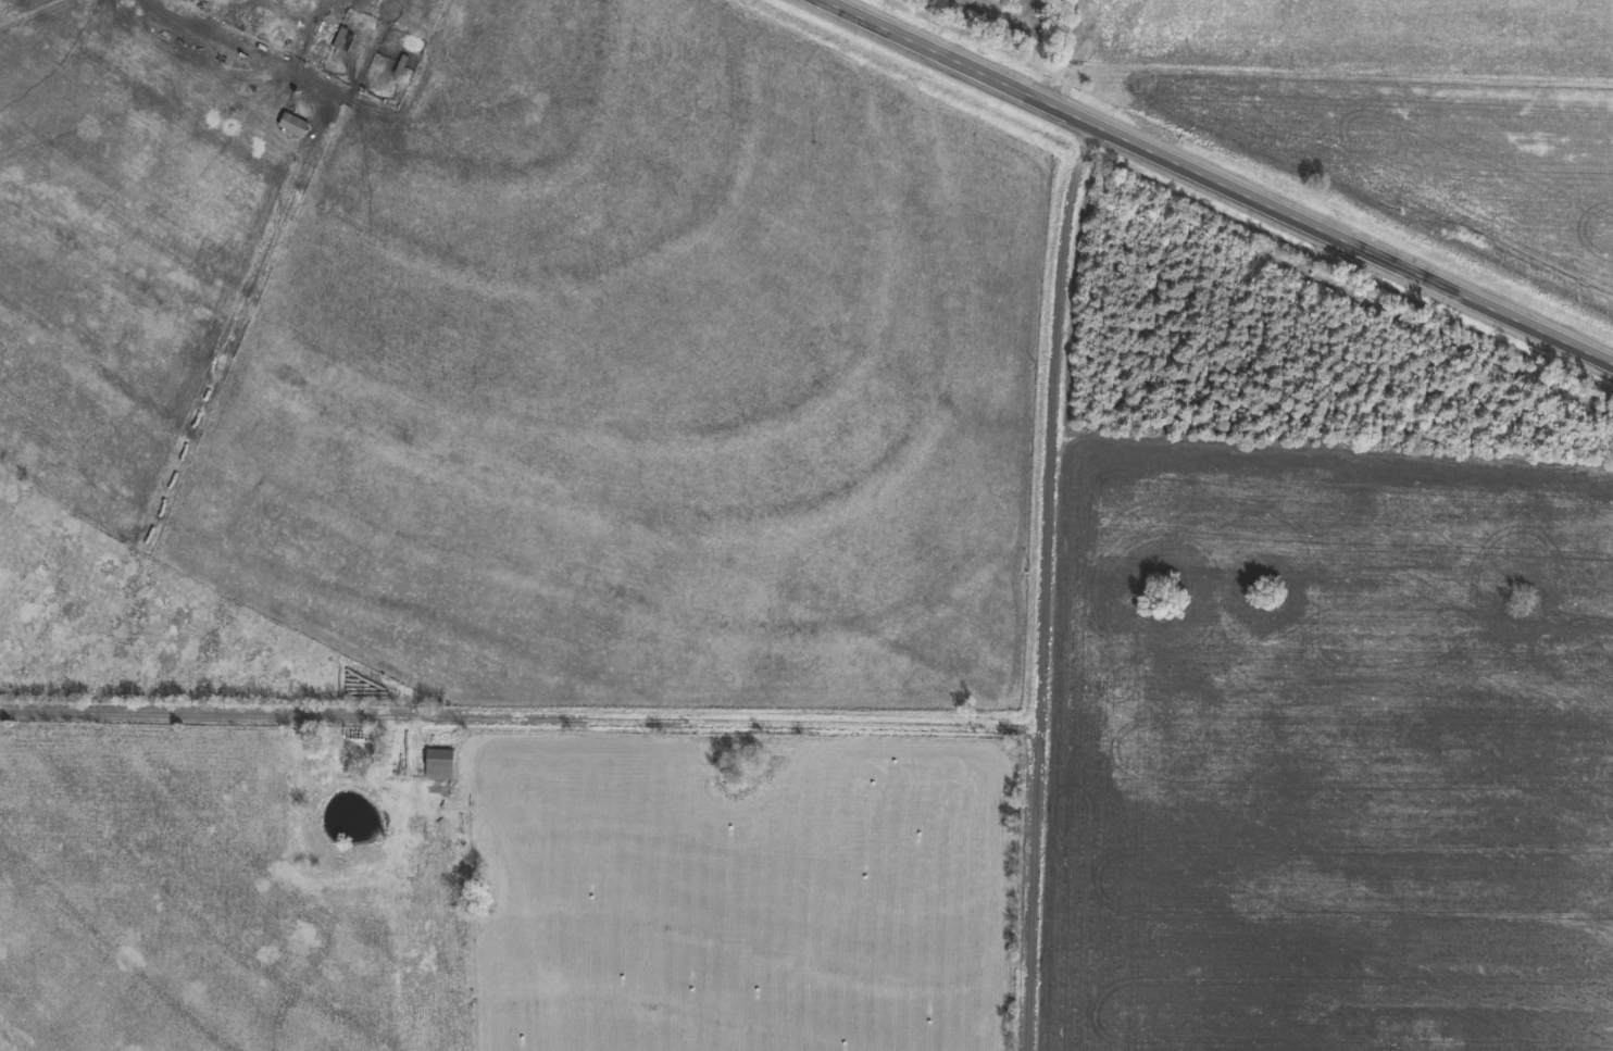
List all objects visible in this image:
building: (320, 1)
building: (296, 126)
railway: (1246, 167)
road: (1222, 178)
road: (1051, 418)
road: (518, 713)
building: (441, 766)
road: (1030, 886)

